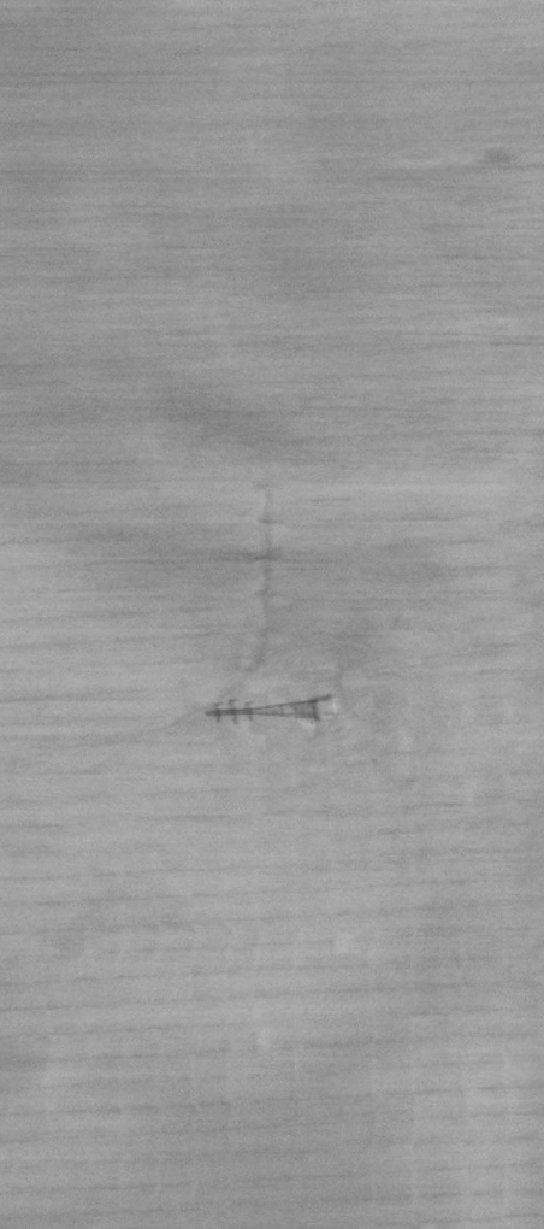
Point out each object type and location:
power tower: (326, 706)

